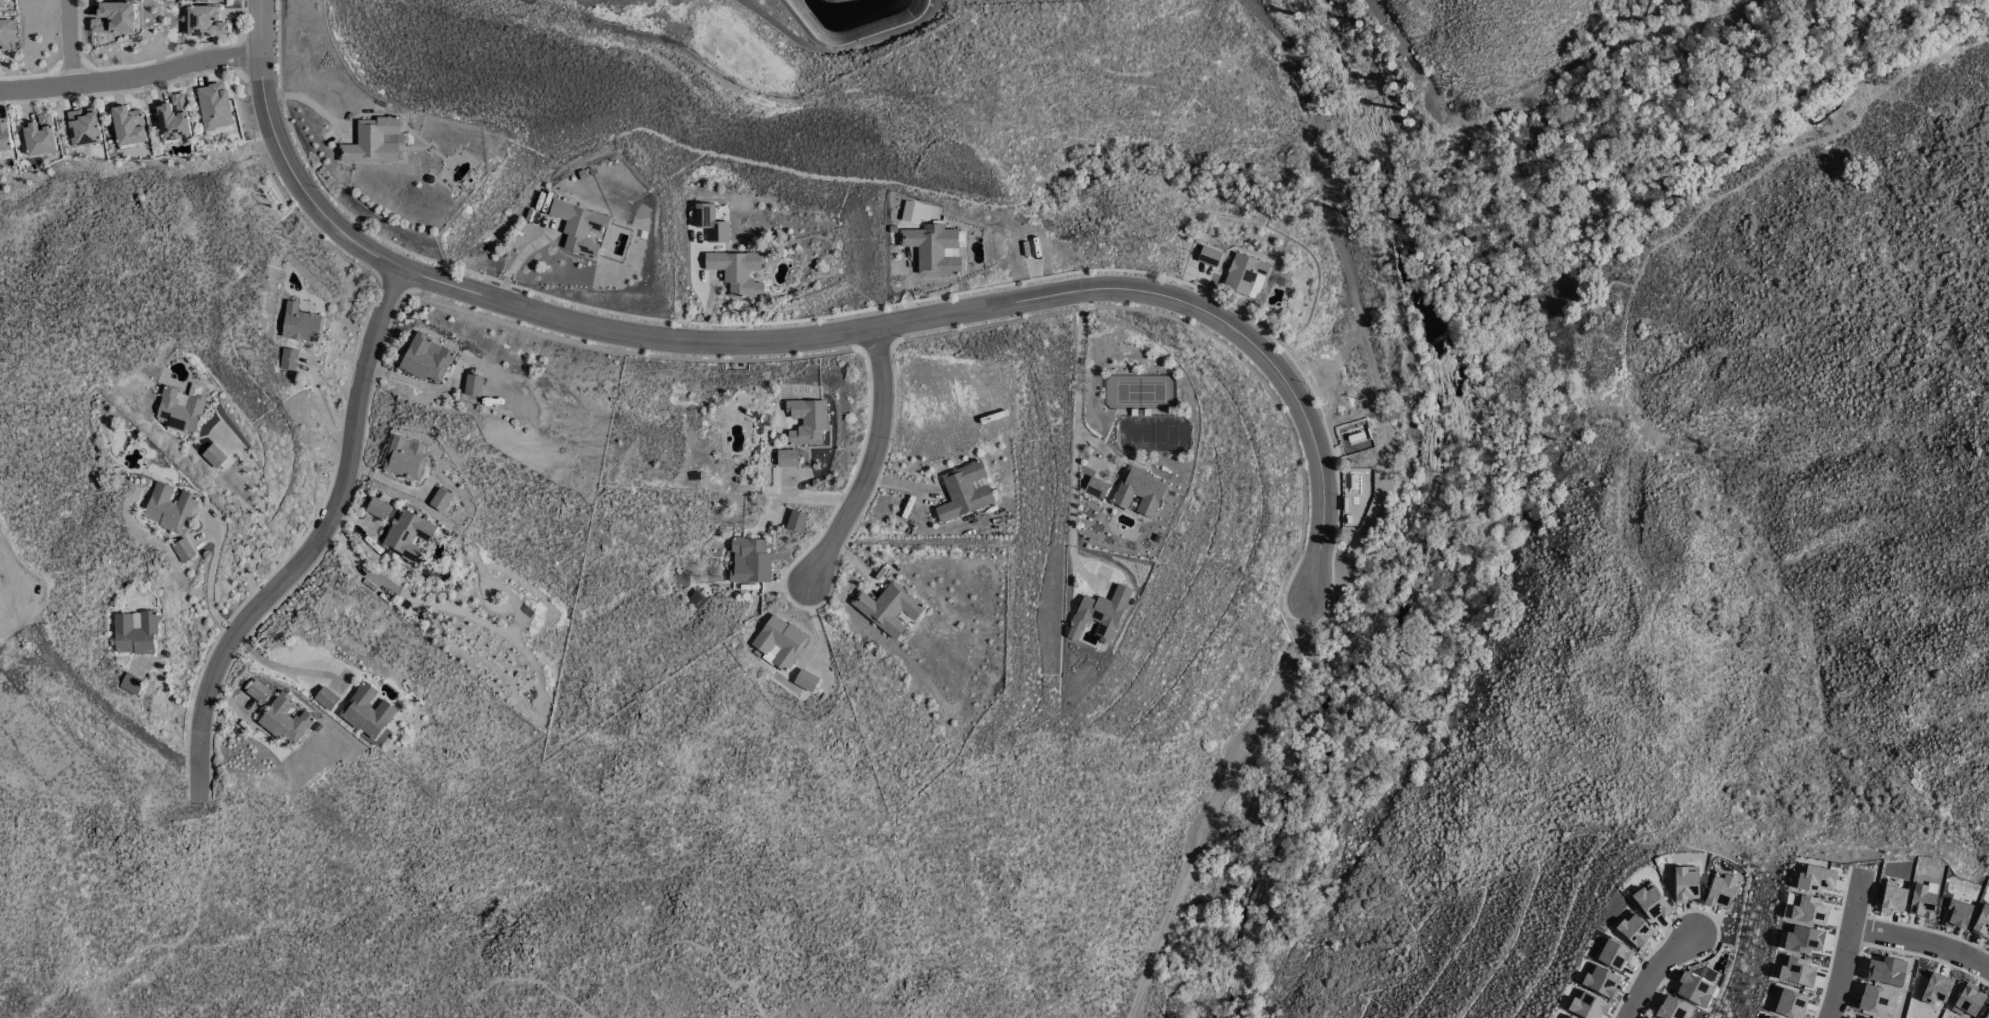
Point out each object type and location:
building: (209, 1)
building: (3, 3)
building: (113, 17)
building: (204, 21)
building: (7, 33)
wastewater plant: (772, 34)
road: (68, 43)
road: (837, 48)
road: (260, 65)
road: (131, 80)
building: (213, 106)
building: (172, 119)
building: (83, 126)
building: (127, 126)
building: (39, 135)
building: (5, 140)
building: (371, 141)
building: (579, 227)
building: (716, 232)
building: (932, 249)
building: (1208, 256)
building: (737, 271)
building: (1245, 275)
road: (1354, 303)
building: (299, 323)
road: (868, 331)
building: (425, 358)
building: (287, 359)
building: (472, 385)
building: (180, 408)
building: (806, 421)
road: (1075, 431)
building: (212, 456)
building: (403, 458)
building: (786, 458)
road: (870, 462)
building: (1095, 488)
building: (963, 491)
building: (1138, 491)
building: (440, 499)
building: (167, 507)
building: (377, 508)
river: (1436, 513)
road: (259, 516)
building: (795, 521)
building: (407, 536)
road: (312, 546)
building: (182, 550)
building: (749, 561)
road: (209, 576)
building: (887, 608)
building: (1099, 614)
building: (134, 633)
building: (778, 642)
road: (278, 667)
building: (805, 680)
building: (130, 684)
building: (258, 691)
building: (325, 698)
building: (366, 711)
building: (284, 720)
road: (1217, 804)
building: (1685, 883)
building: (1719, 891)
building: (1650, 902)
road: (195, 924)
building: (1633, 929)
road: (1922, 943)
road: (690, 944)
road: (1847, 945)
building: (1612, 954)
road: (1652, 970)
building: (1599, 980)
road: (525, 984)
building: (1693, 989)
building: (1587, 1005)
building: (1672, 1009)
building: (1564, 1016)

